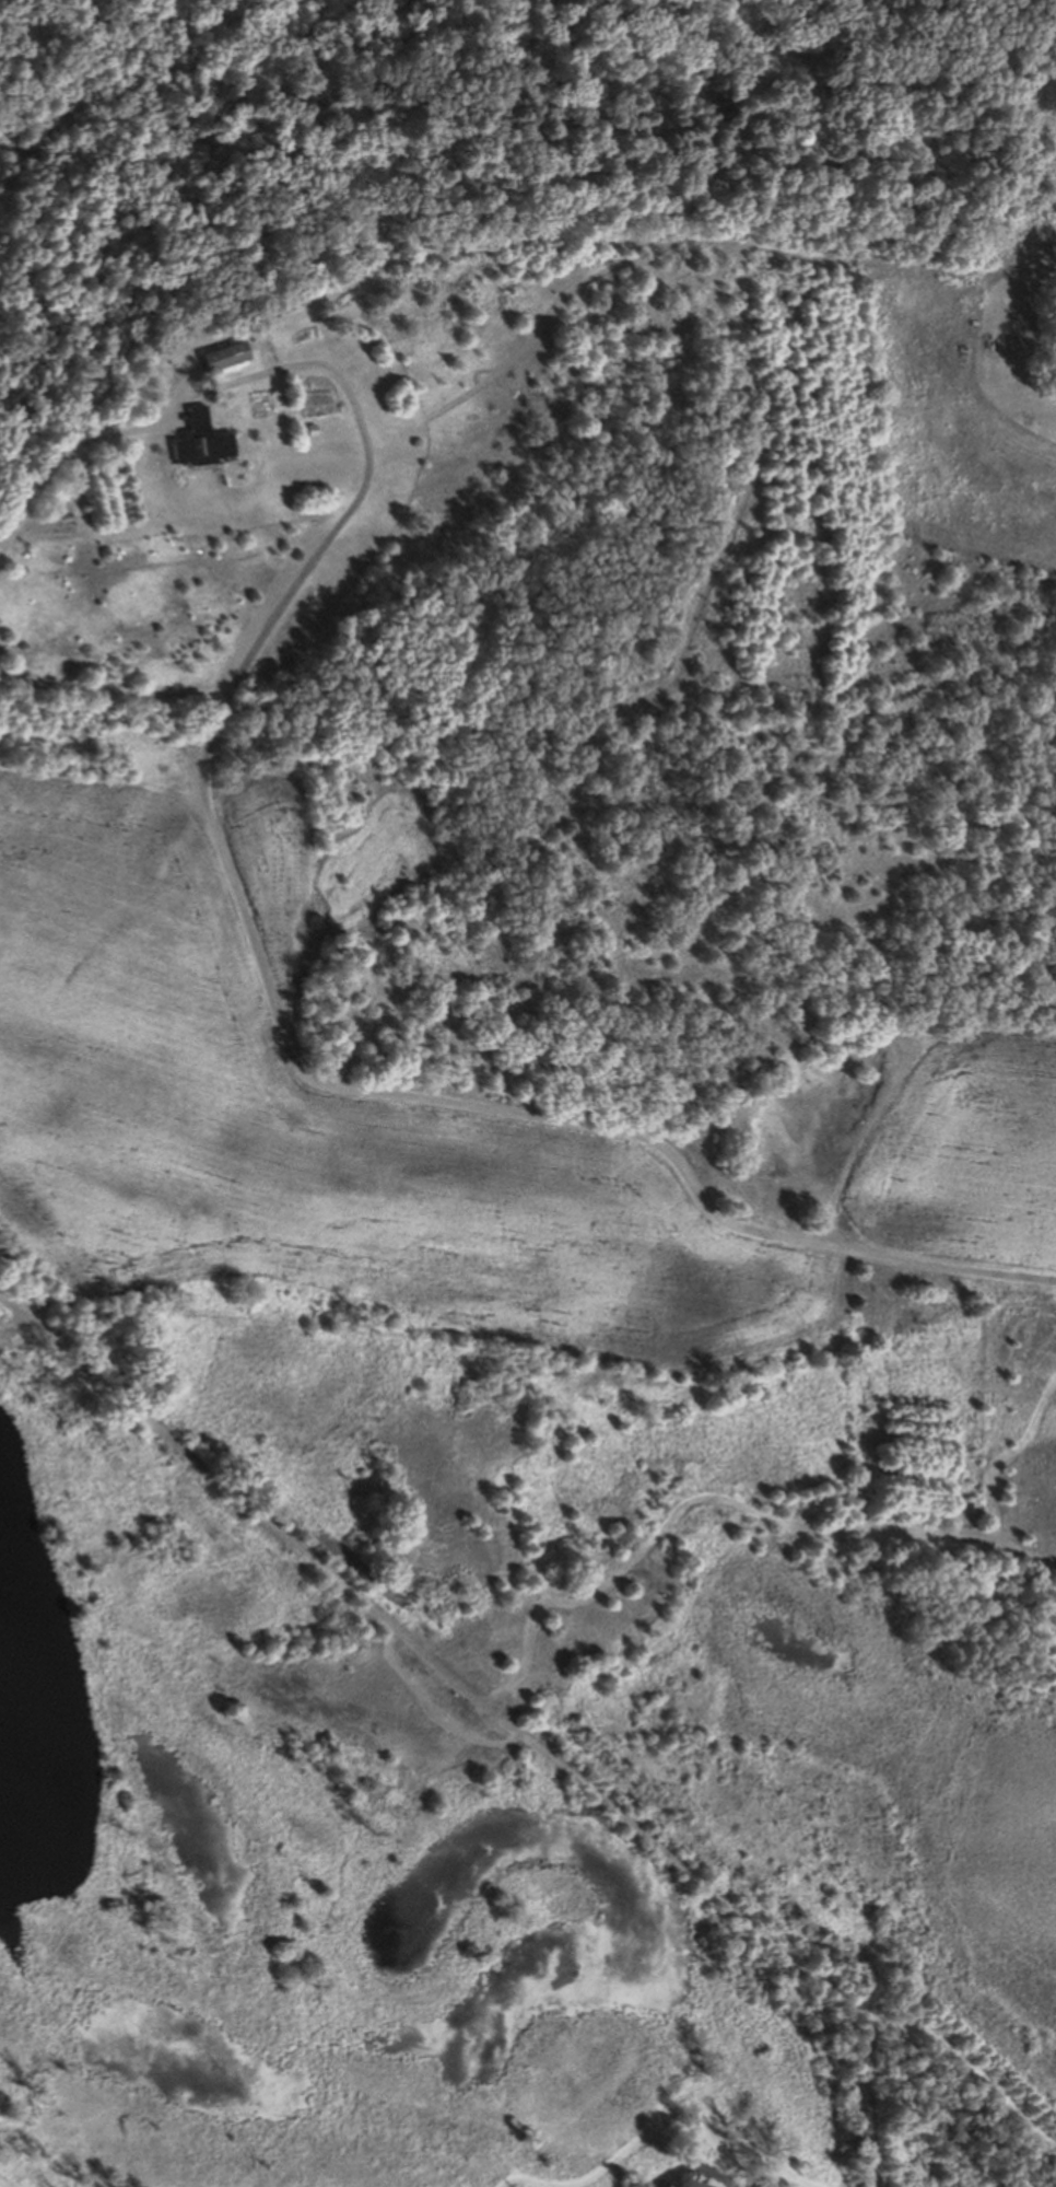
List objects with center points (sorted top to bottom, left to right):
building: (255, 314)
building: (222, 356)
road: (296, 364)
building: (196, 440)
road: (112, 690)
road: (478, 1105)

